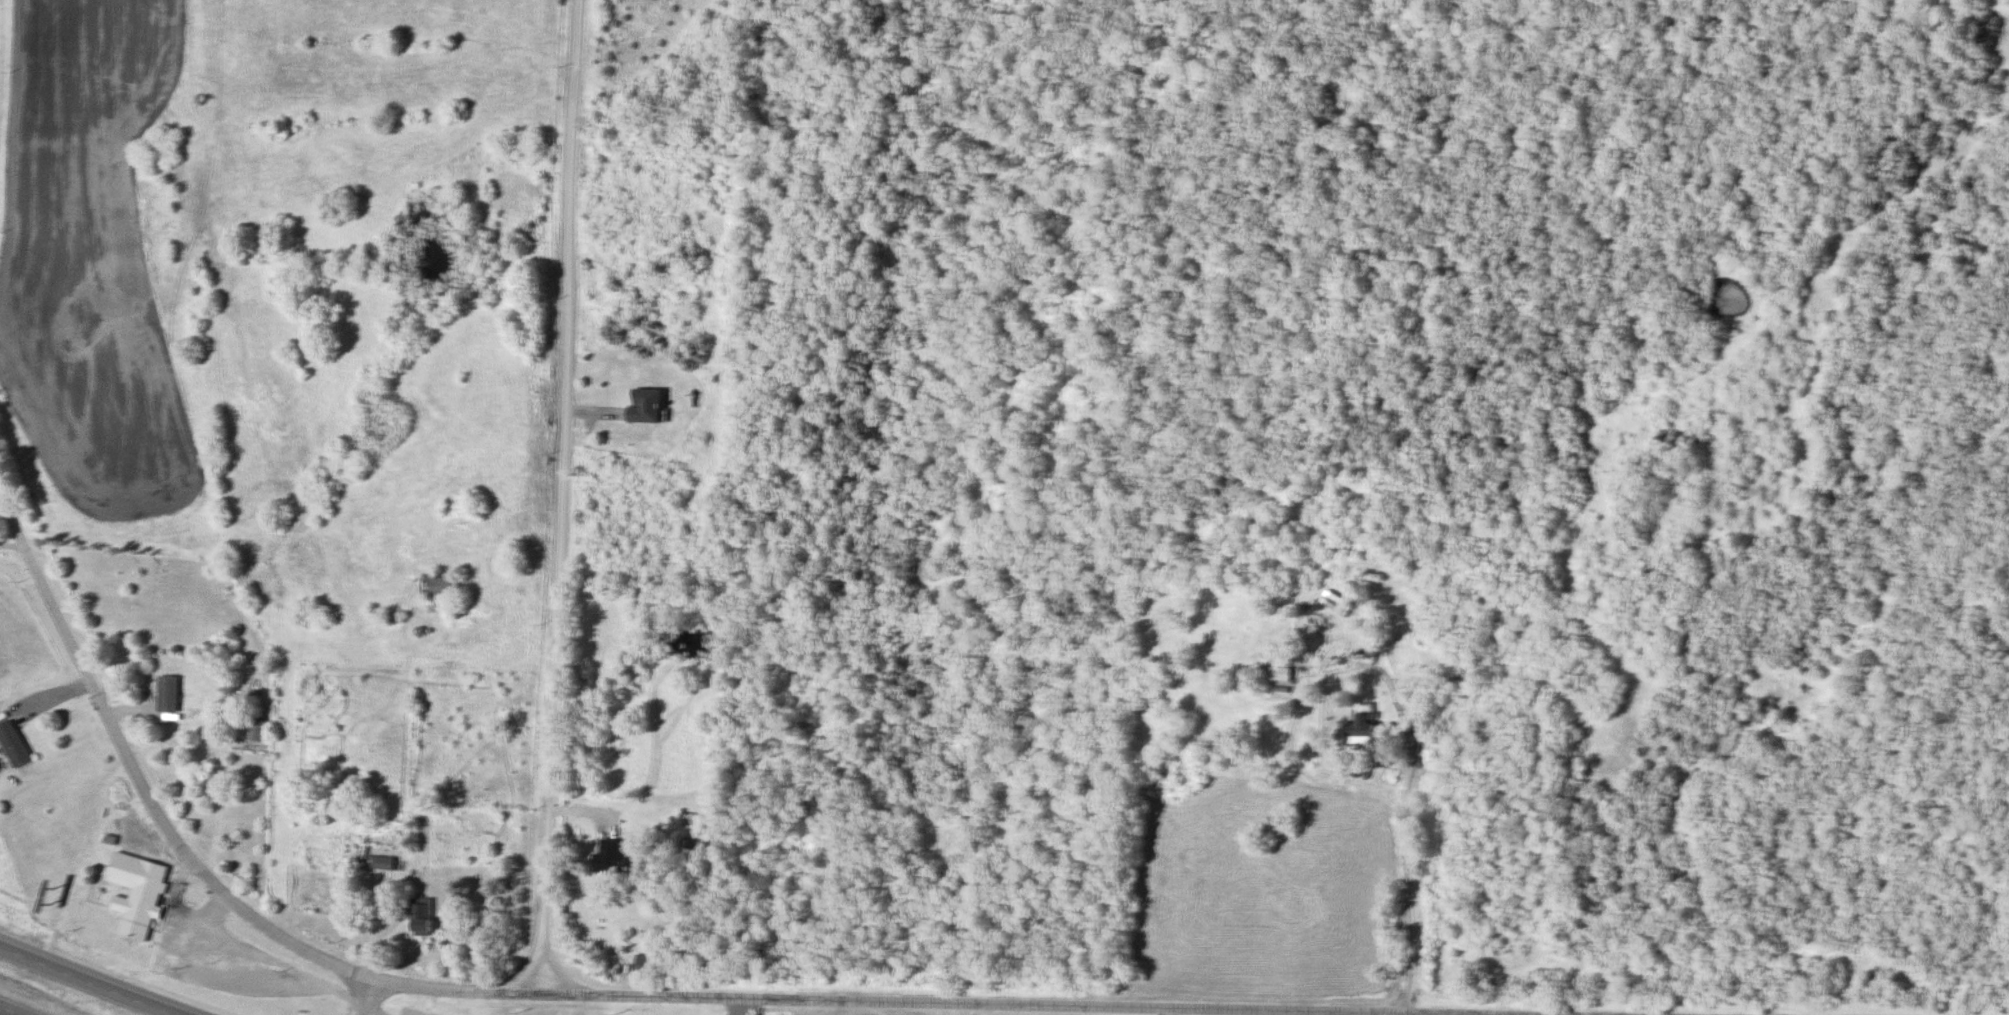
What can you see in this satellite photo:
road: (0, 23)
park: (1370, 274)
road: (558, 476)
road: (12, 548)
building: (439, 588)
building: (1280, 676)
building: (168, 696)
building: (1363, 725)
building: (260, 732)
building: (13, 746)
building: (611, 859)
building: (386, 865)
road: (1406, 866)
building: (137, 904)
building: (422, 918)
road: (264, 961)
building: (645, 967)
road: (557, 975)
road: (532, 976)
road: (96, 979)
road: (371, 997)
road: (616, 999)
road: (740, 1007)
road: (10, 1011)

